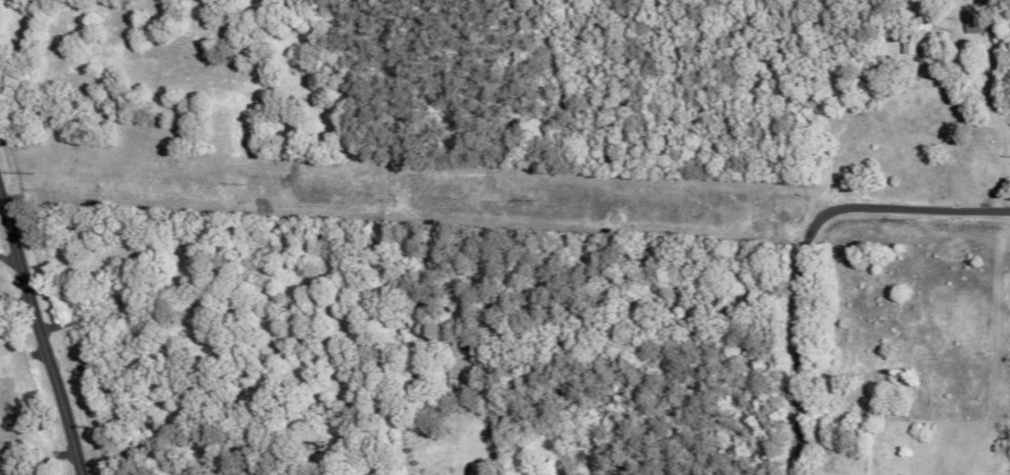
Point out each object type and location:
building: (972, 23)
road: (802, 245)
road: (45, 314)

